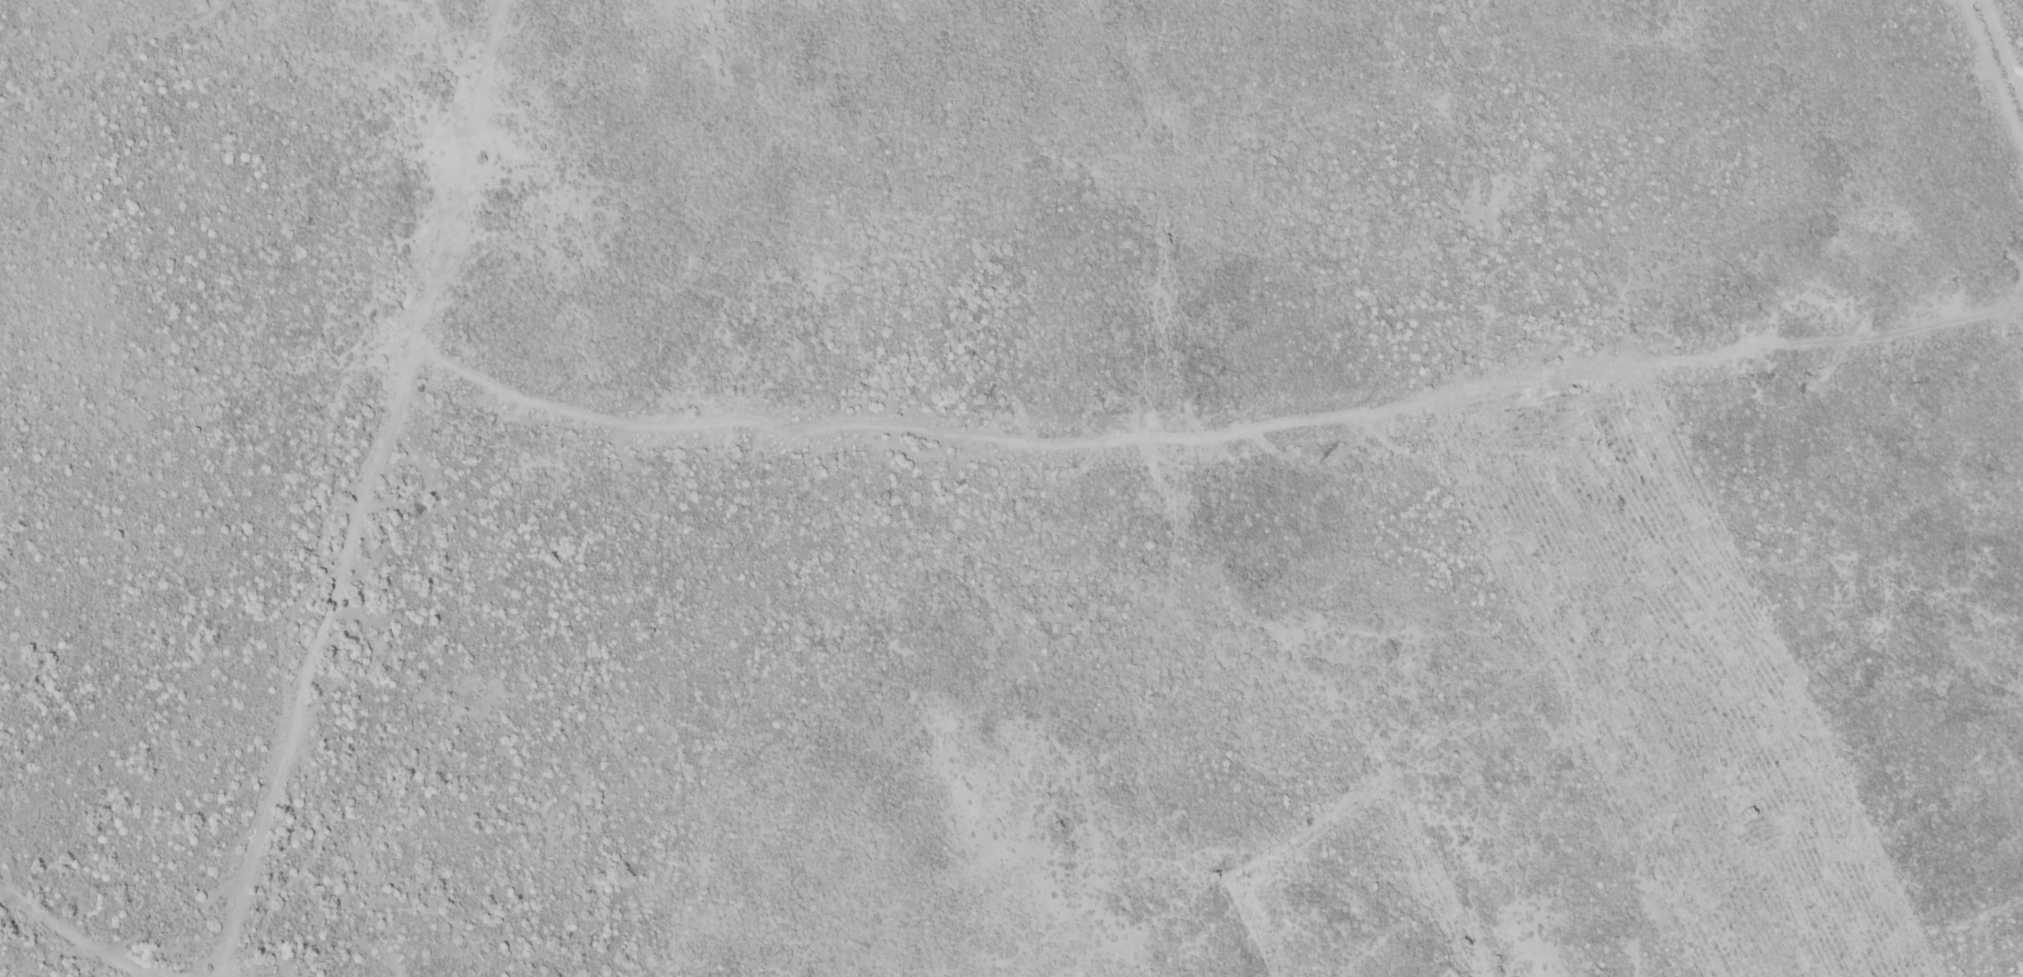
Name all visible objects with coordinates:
road: (1215, 426)
road: (367, 487)
road: (85, 949)

